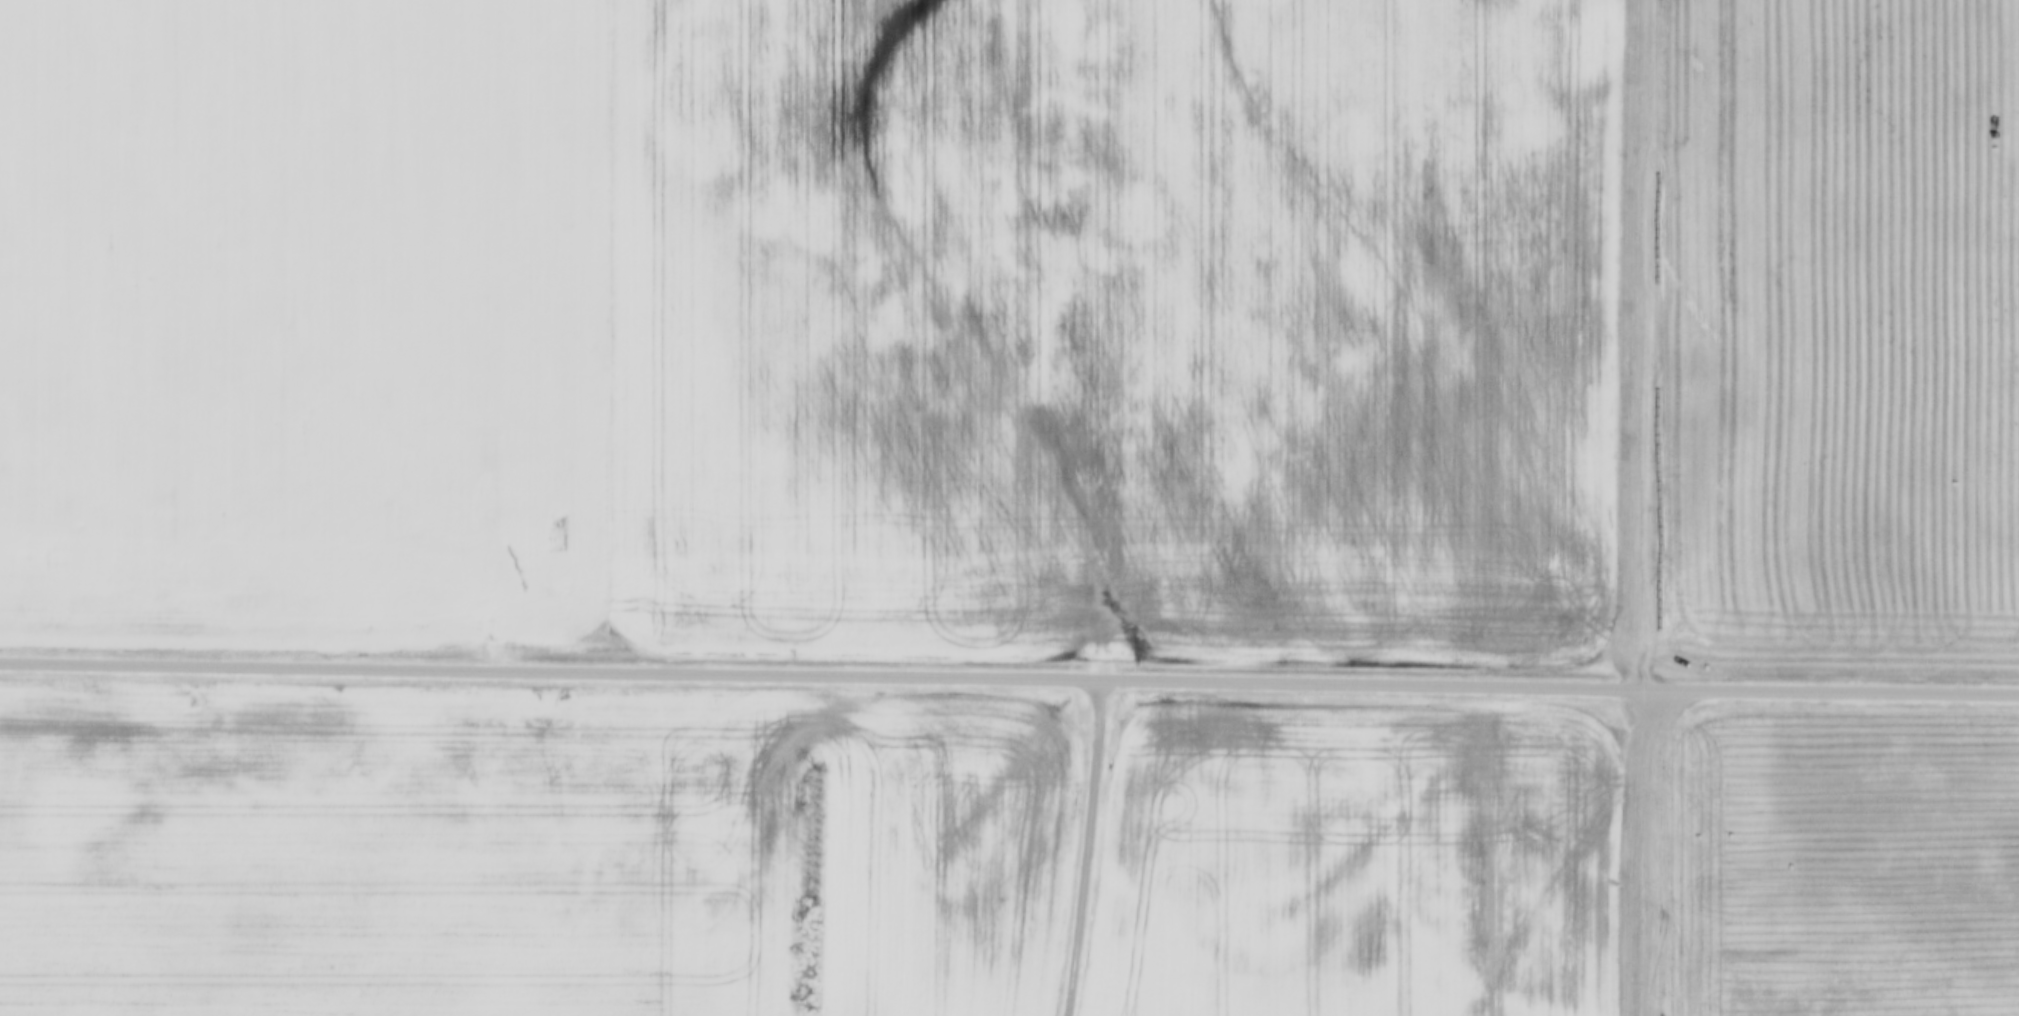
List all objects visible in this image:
road: (1639, 343)
road: (1009, 674)
road: (1091, 846)
road: (1636, 851)

